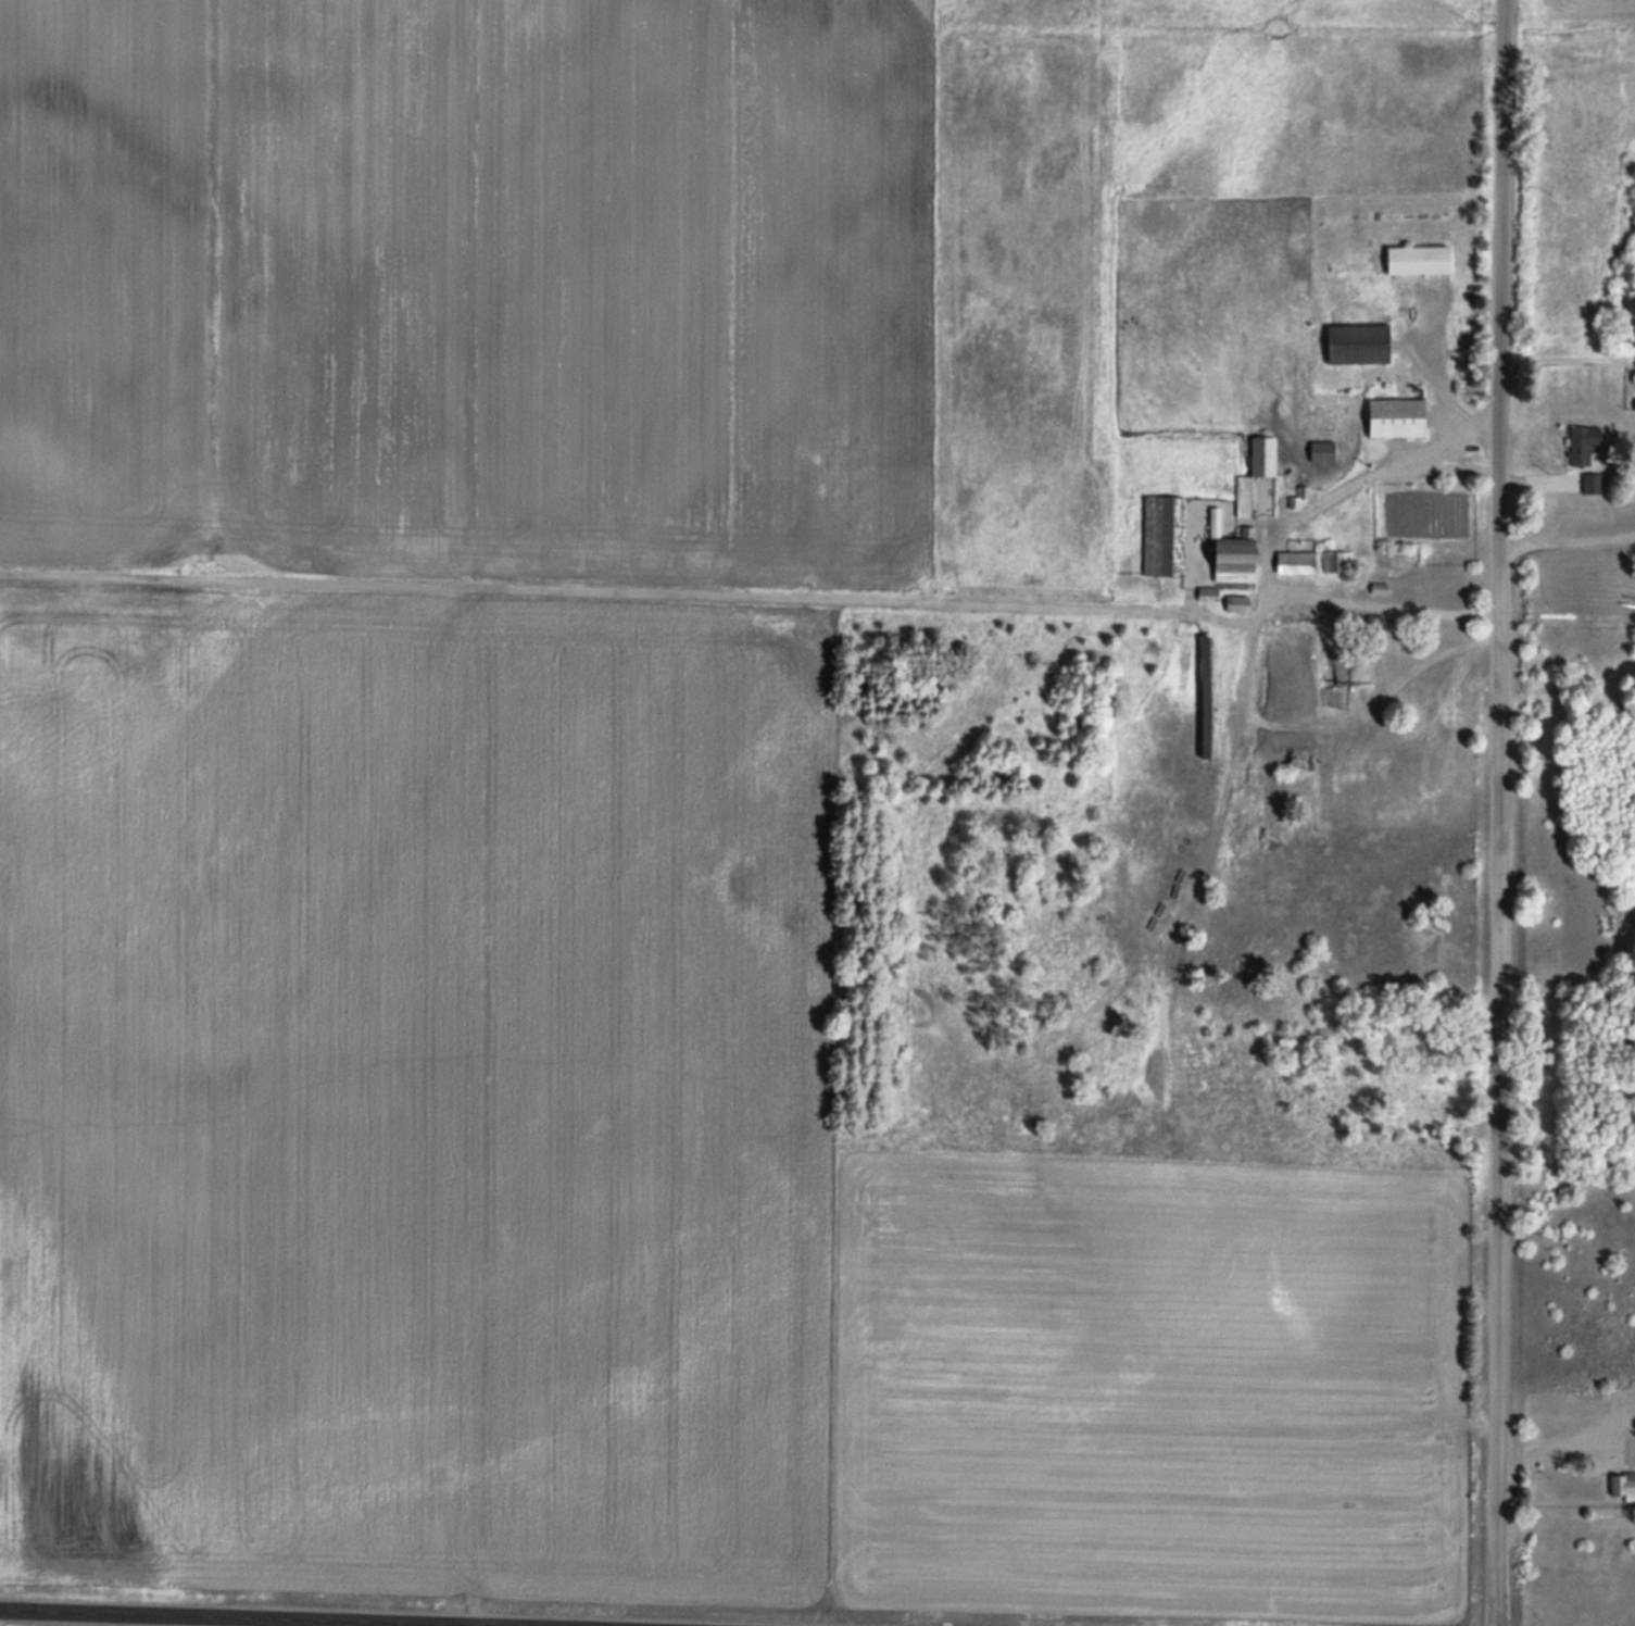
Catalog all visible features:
building: (1419, 259)
building: (1359, 342)
building: (1397, 415)
building: (1583, 445)
building: (1321, 449)
building: (1261, 454)
building: (1588, 481)
building: (1162, 533)
building: (1235, 558)
building: (1333, 559)
building: (1294, 560)
building: (1418, 583)
road: (751, 585)
building: (1206, 592)
building: (1235, 602)
building: (1373, 620)
building: (1206, 695)
road: (1501, 813)
building: (1623, 1484)
road: (363, 1615)

